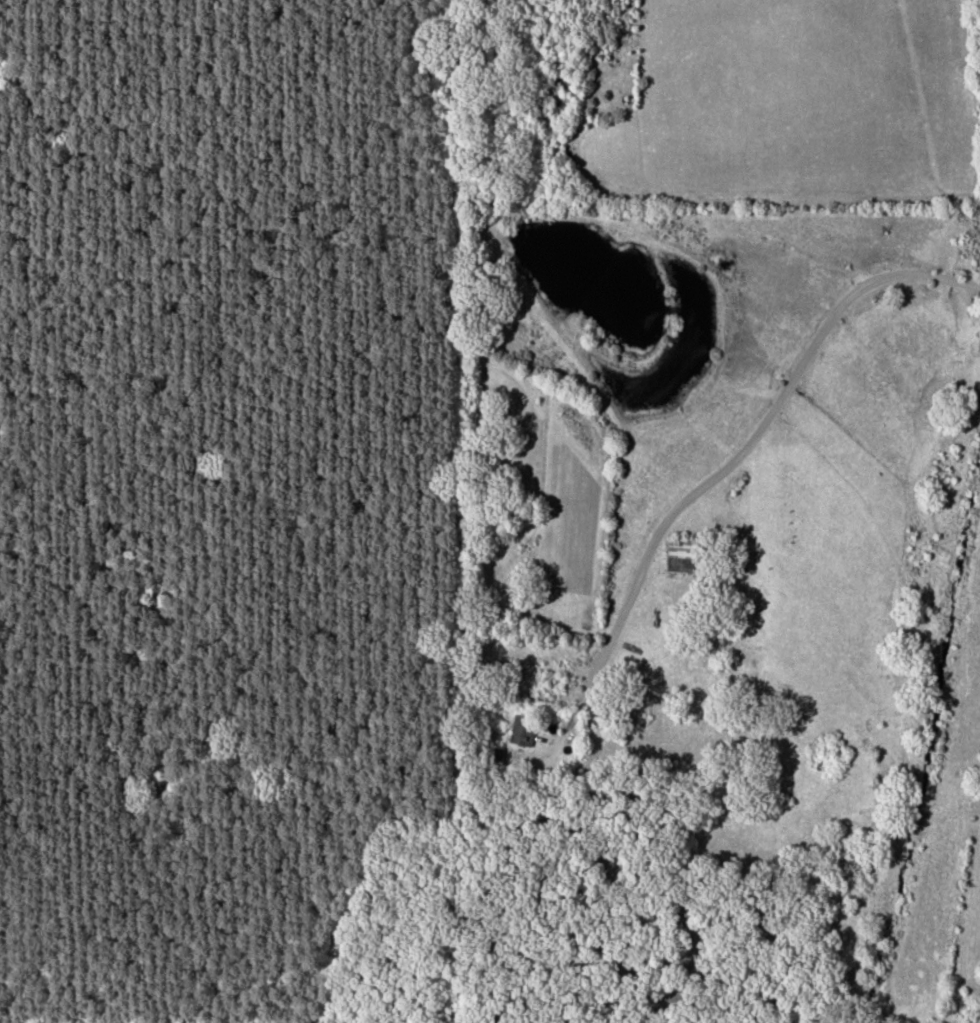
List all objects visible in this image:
building: (524, 728)

